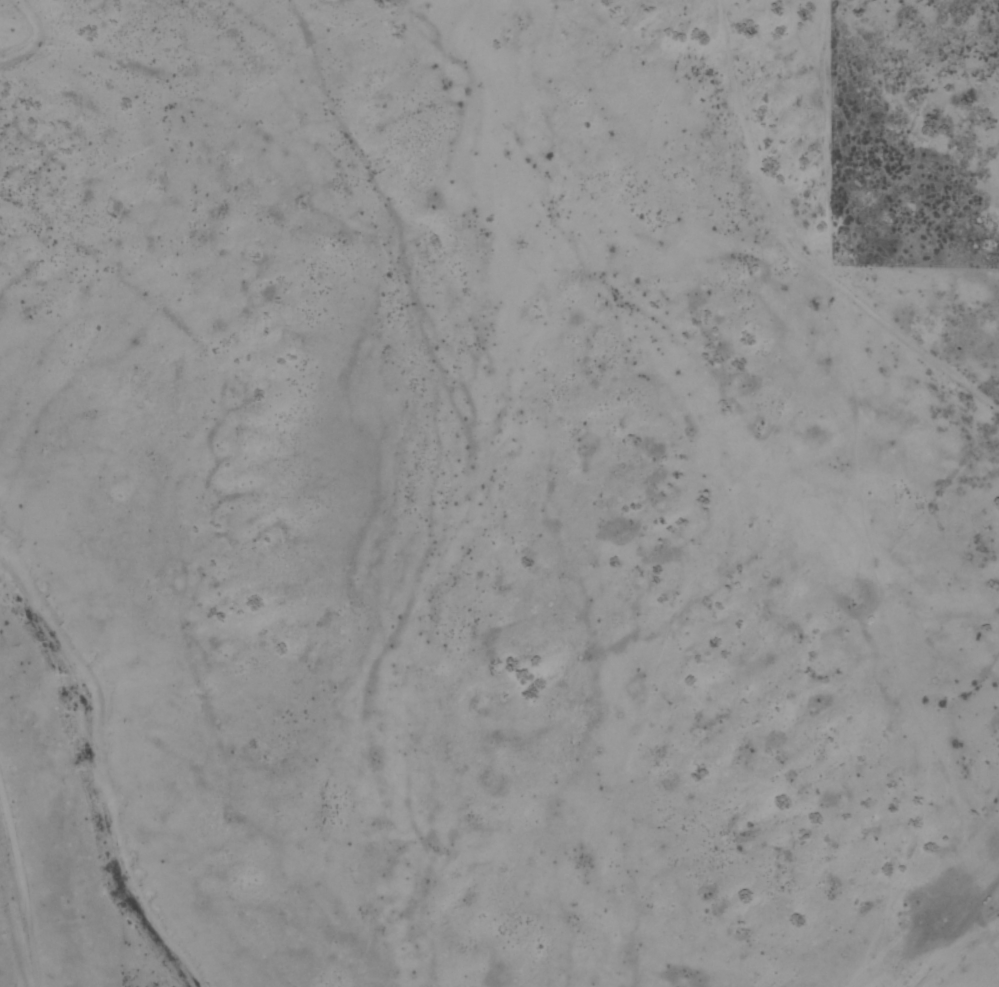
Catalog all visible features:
road: (972, 954)

